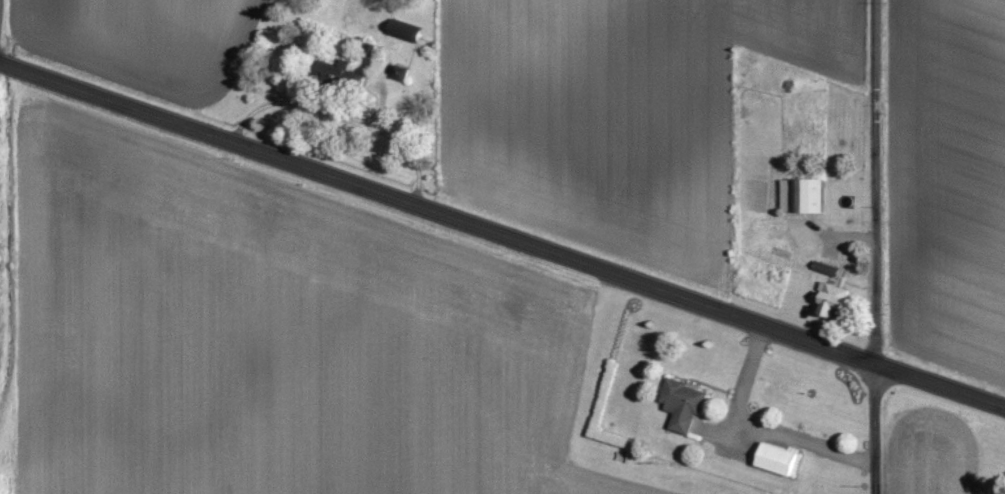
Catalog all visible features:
road: (502, 232)
road: (876, 246)
road: (758, 428)
building: (779, 459)

